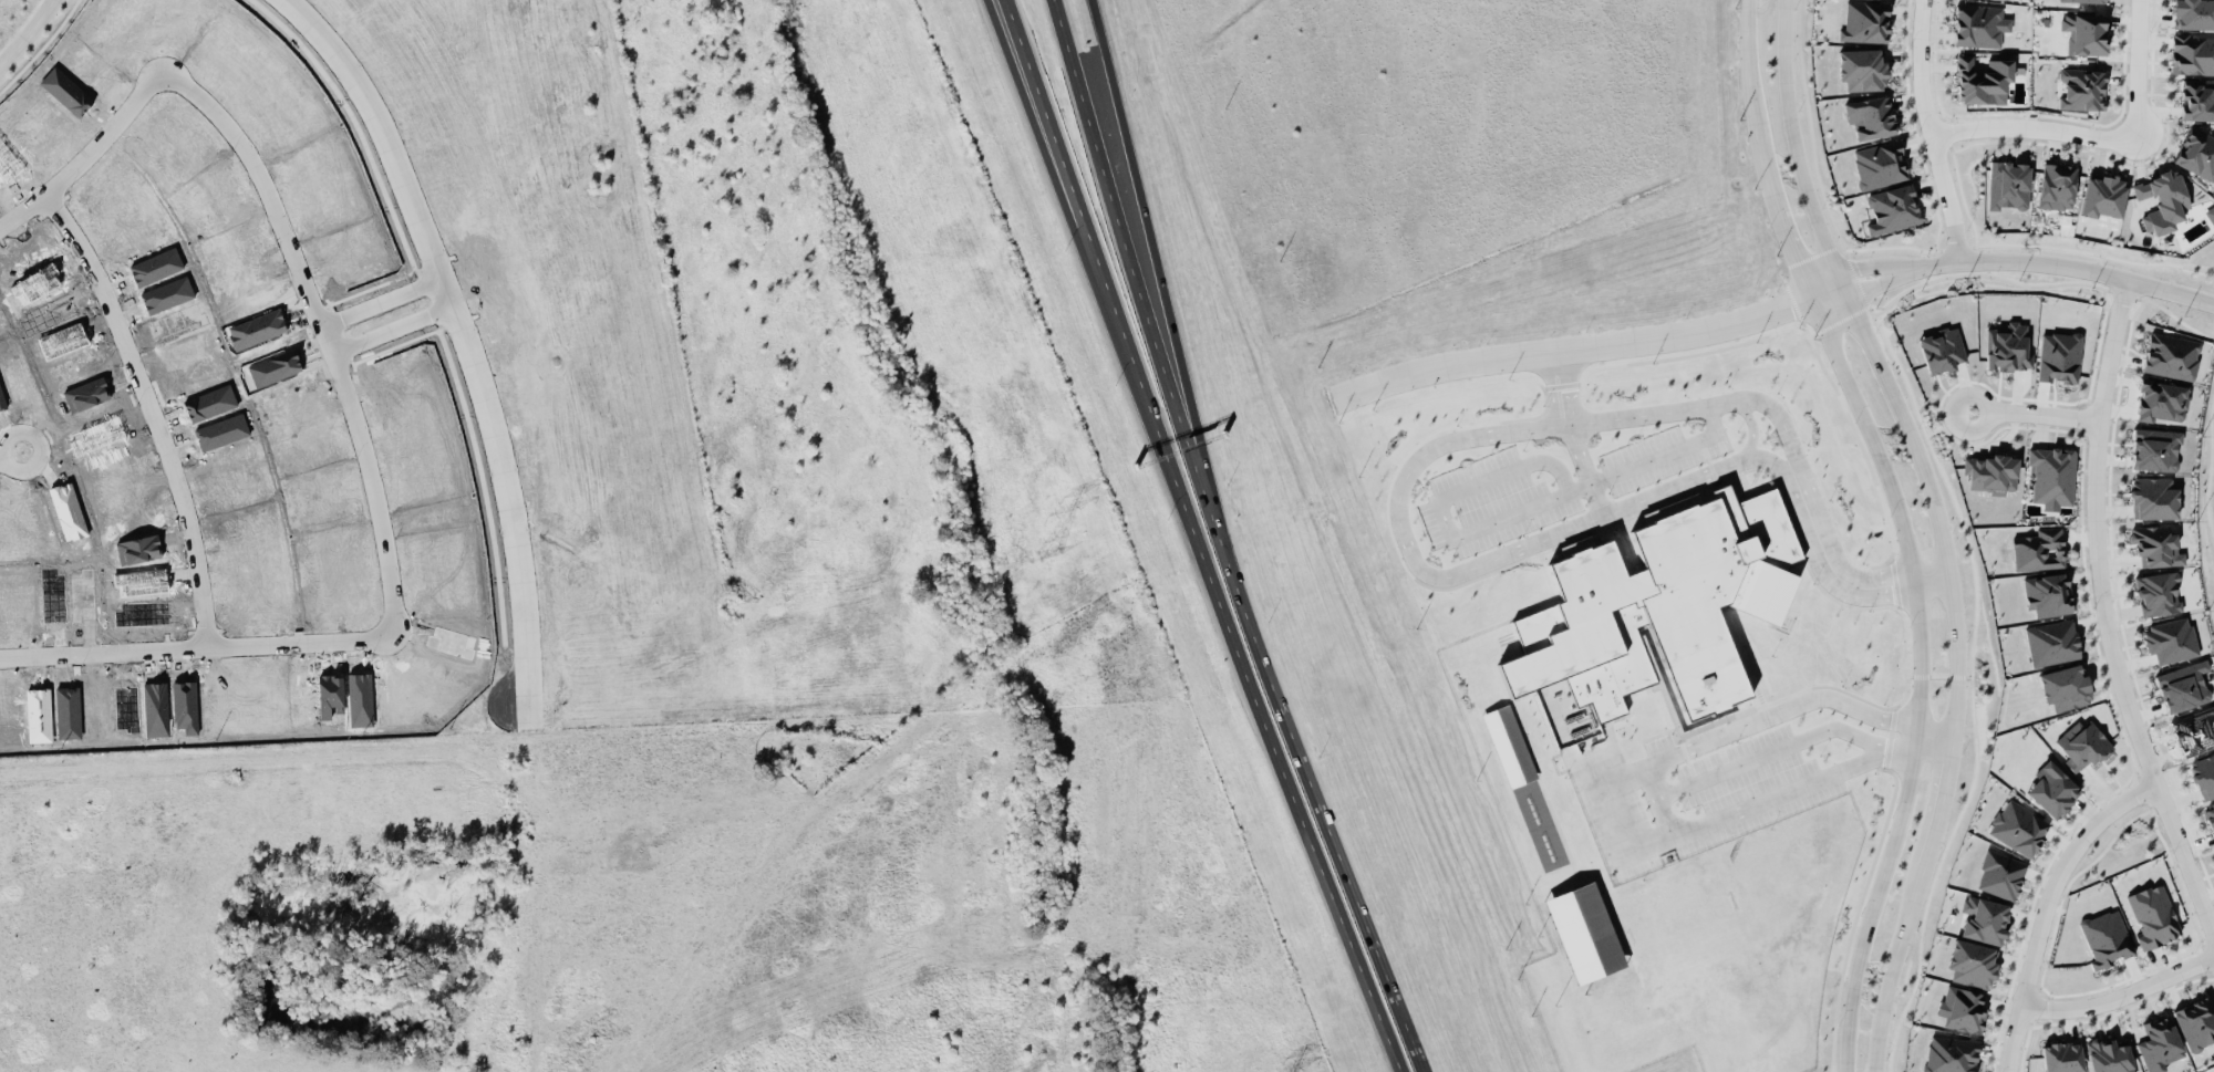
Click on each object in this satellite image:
building: (2083, 0)
building: (2193, 13)
building: (1864, 21)
building: (1977, 25)
building: (2084, 32)
road: (25, 33)
building: (2192, 54)
building: (1861, 69)
road: (2135, 69)
building: (1982, 81)
building: (2081, 89)
road: (1749, 93)
building: (2197, 98)
building: (1870, 116)
road: (2032, 125)
road: (1930, 128)
road: (385, 143)
building: (2196, 153)
building: (1877, 164)
building: (2007, 184)
building: (2057, 186)
building: (2102, 195)
building: (2162, 200)
building: (1891, 208)
building: (2210, 214)
road: (1786, 240)
road: (1957, 257)
road: (1160, 281)
road: (1137, 282)
road: (380, 303)
road: (2173, 316)
road: (391, 334)
building: (2008, 347)
road: (1570, 348)
building: (1941, 350)
building: (2171, 355)
building: (2058, 356)
road: (1126, 363)
road: (1135, 364)
building: (2158, 399)
road: (348, 408)
road: (154, 410)
road: (2025, 415)
building: (2154, 449)
road: (3, 455)
road: (39, 455)
road: (2211, 465)
road: (1586, 468)
building: (1991, 472)
building: (2051, 476)
building: (2152, 497)
road: (510, 516)
road: (1941, 527)
road: (1544, 539)
building: (2155, 545)
power tower: (1046, 550)
road: (1830, 562)
road: (2094, 581)
building: (2047, 594)
building: (1665, 608)
building: (2050, 642)
road: (1920, 670)
building: (2063, 686)
building: (2182, 686)
road: (312, 742)
building: (1509, 745)
building: (2083, 747)
road: (1771, 751)
building: (2203, 774)
road: (1653, 787)
building: (2051, 789)
building: (2210, 813)
road: (1324, 818)
building: (2017, 826)
building: (1999, 874)
road: (1332, 899)
road: (2036, 908)
building: (2152, 915)
building: (1983, 919)
building: (1584, 932)
building: (2104, 938)
building: (1970, 962)
road: (2115, 995)
building: (1959, 1005)
building: (2196, 1022)
building: (2158, 1043)
building: (1949, 1054)
building: (2061, 1057)
building: (2108, 1057)
road: (1838, 1066)

